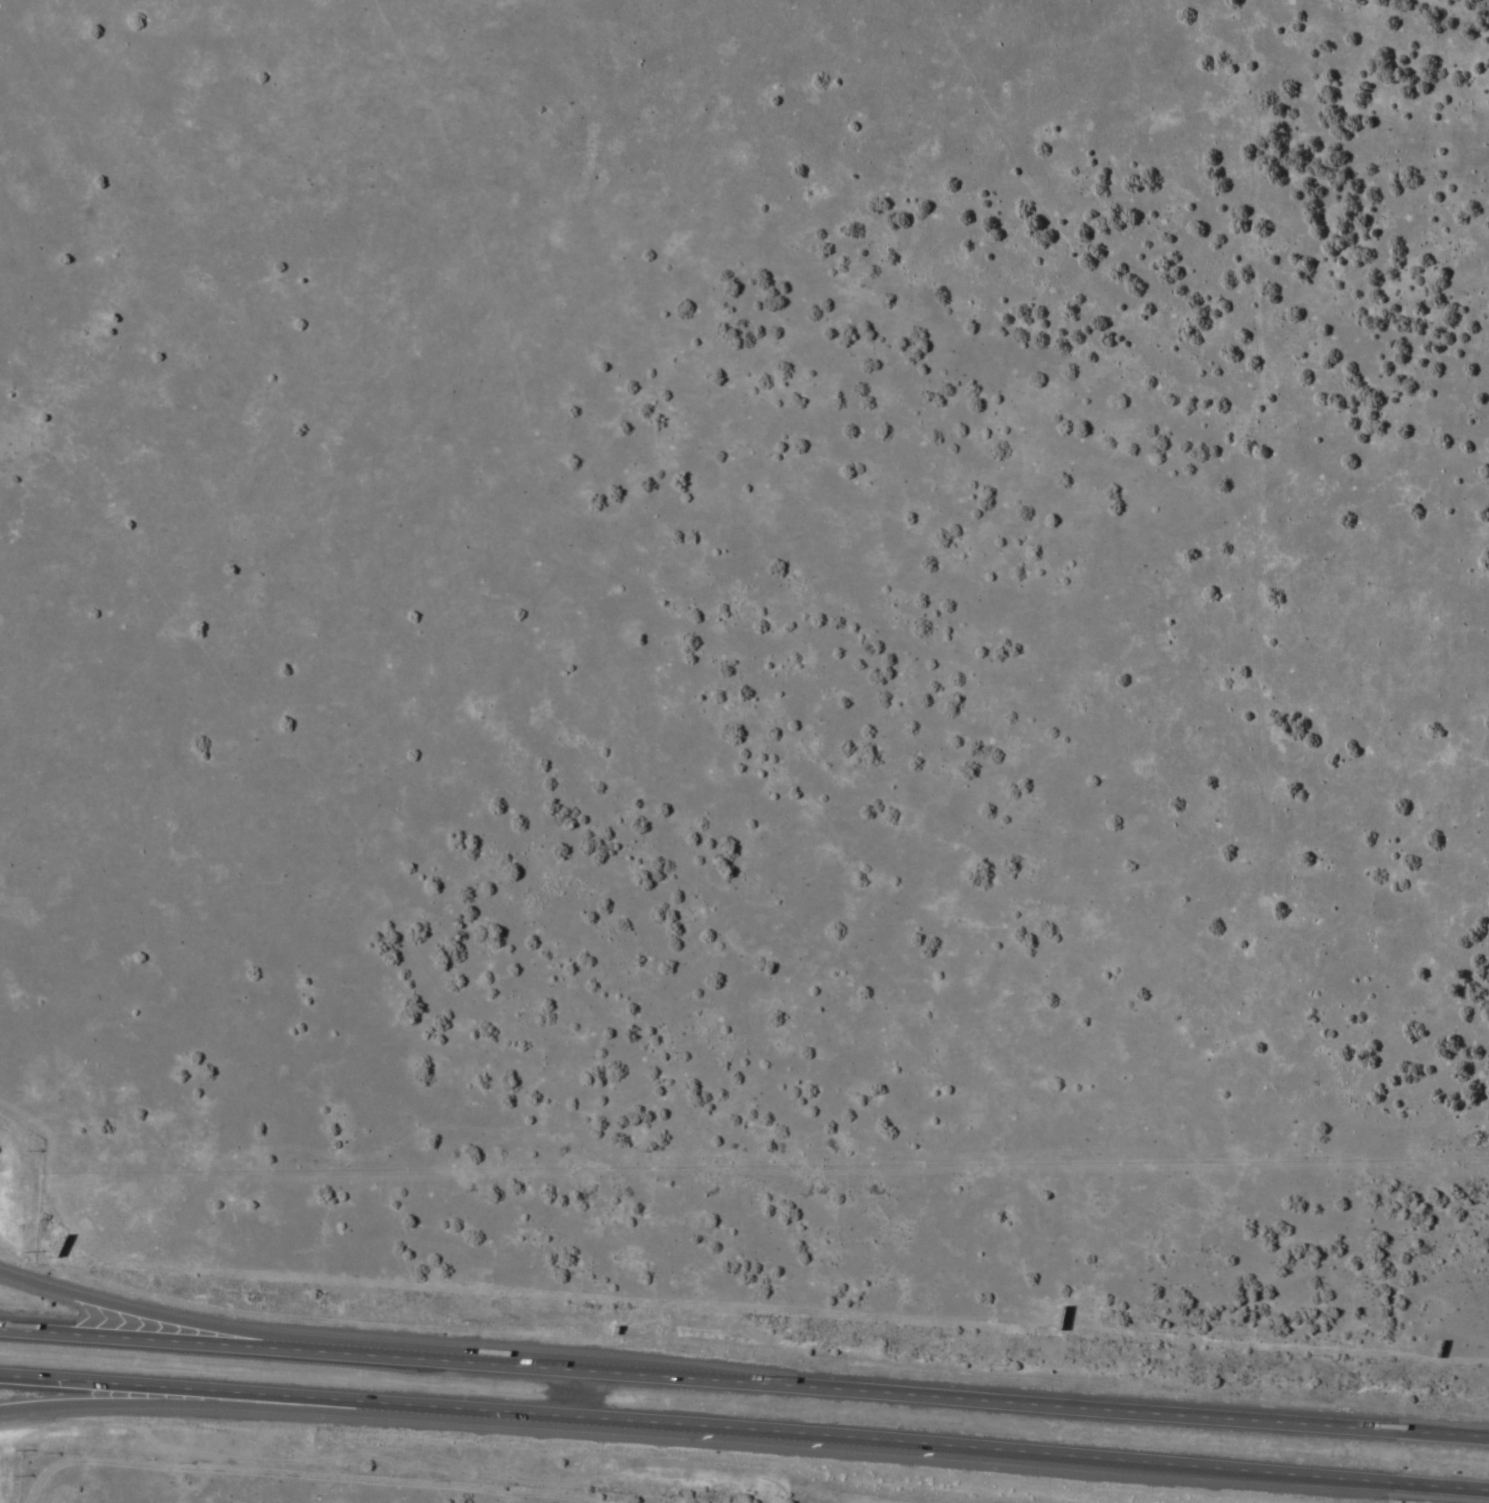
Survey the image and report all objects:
road: (153, 1316)
road: (744, 1386)
road: (199, 1408)
road: (744, 1431)

